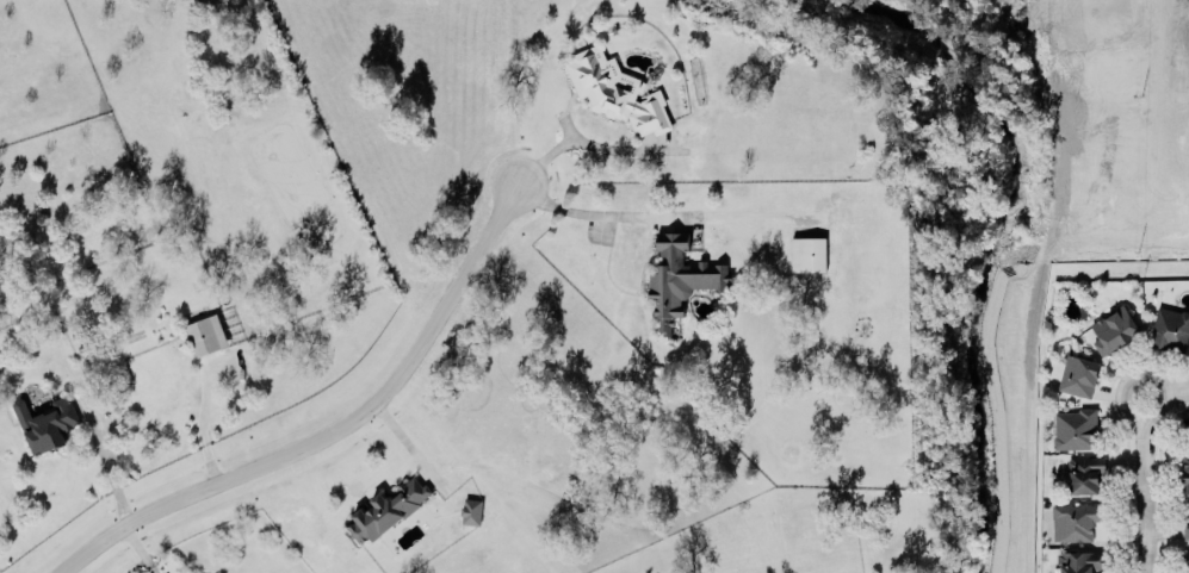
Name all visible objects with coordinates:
building: (615, 88)
road: (574, 142)
road: (583, 213)
building: (807, 253)
building: (679, 274)
building: (1113, 328)
building: (1170, 328)
building: (205, 334)
building: (1078, 372)
building: (1188, 375)
road: (1163, 398)
building: (1188, 416)
building: (45, 418)
building: (1075, 425)
road: (332, 431)
road: (407, 444)
road: (109, 467)
building: (1185, 468)
building: (1085, 473)
road: (1142, 496)
building: (386, 504)
building: (470, 510)
building: (1075, 519)
building: (1185, 527)
building: (1080, 560)
building: (1187, 560)

